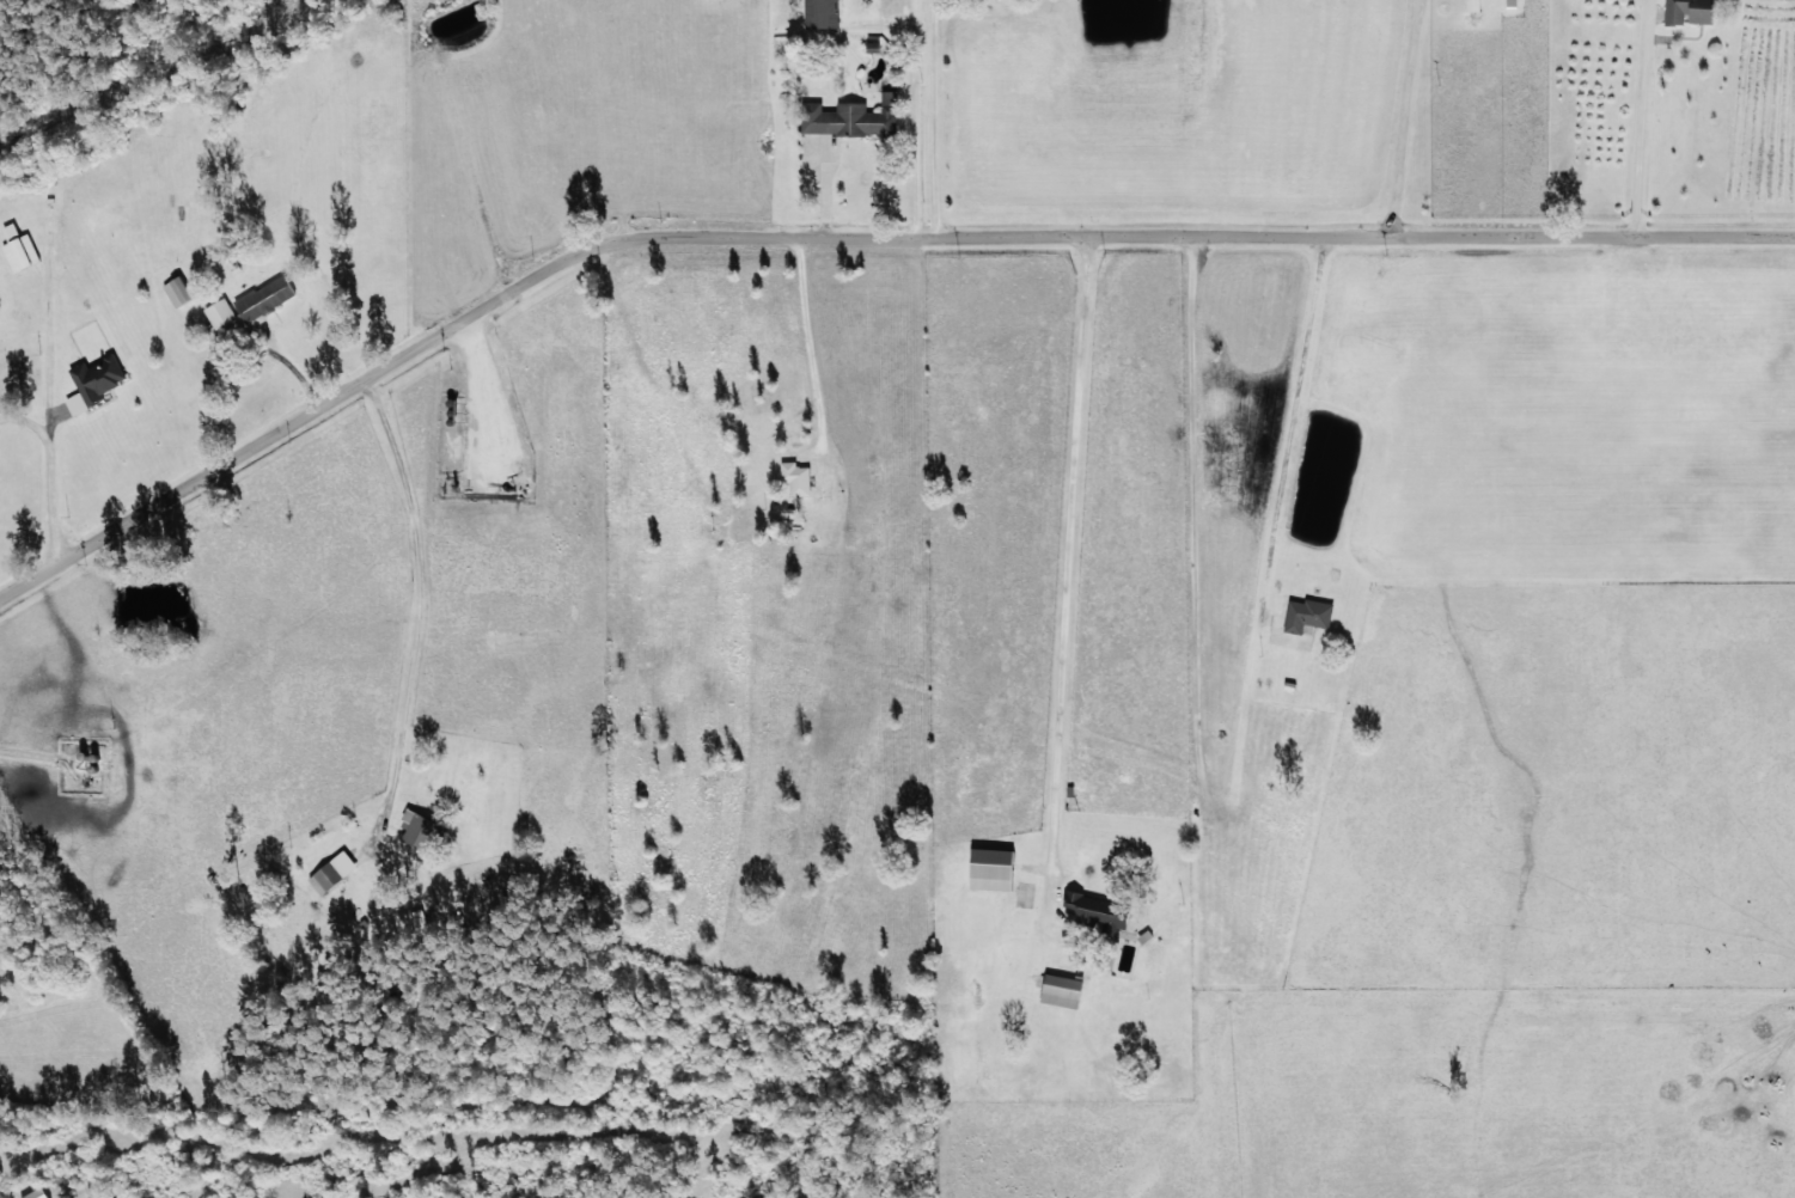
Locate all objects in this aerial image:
building: (1471, 5)
building: (1687, 12)
building: (820, 13)
building: (871, 47)
building: (851, 117)
road: (861, 242)
building: (17, 249)
building: (176, 291)
building: (218, 313)
building: (93, 380)
road: (1268, 436)
building: (794, 478)
road: (1055, 560)
building: (1306, 615)
building: (419, 832)
building: (989, 869)
building: (324, 878)
building: (1094, 912)
building: (1060, 990)

